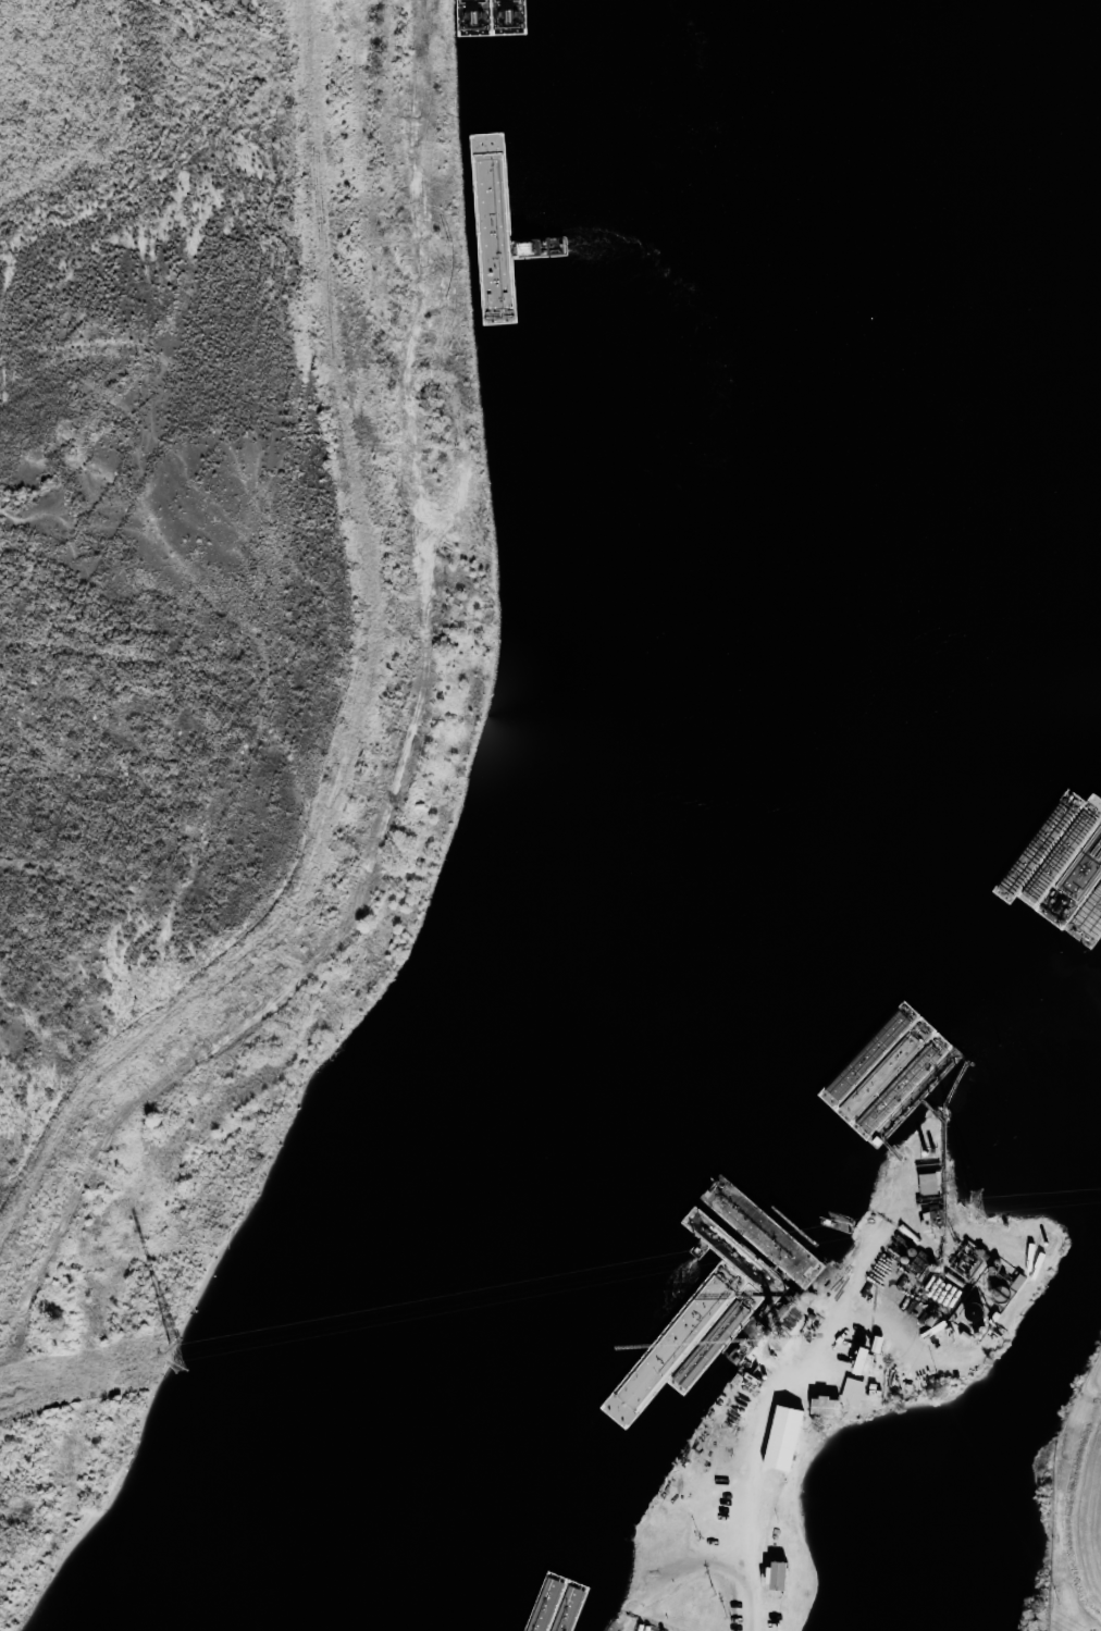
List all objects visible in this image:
landfill: (221, 648)
river: (762, 819)
building: (1094, 905)
building: (927, 1183)
power tower: (978, 1206)
power tower: (178, 1357)
building: (861, 1361)
building: (822, 1406)
building: (780, 1437)
road: (757, 1517)
building: (771, 1573)

